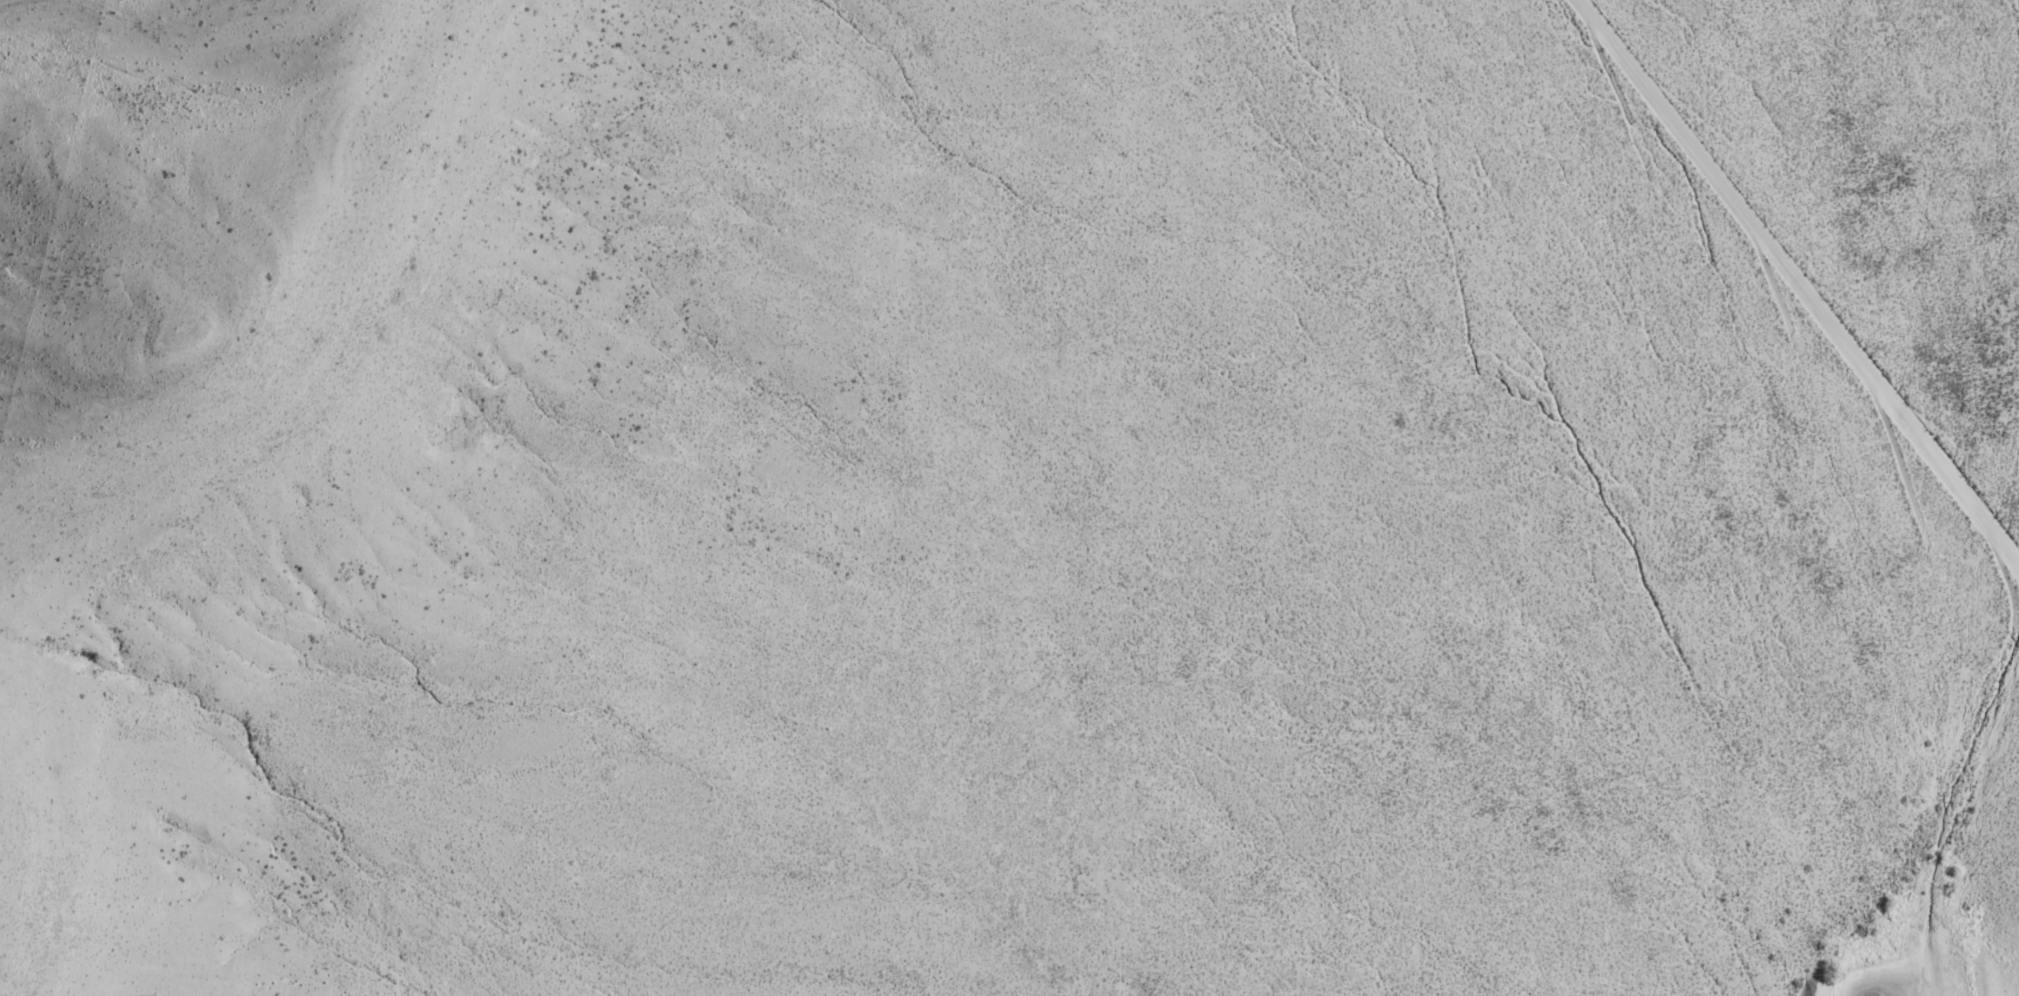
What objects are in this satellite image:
road: (1795, 286)

